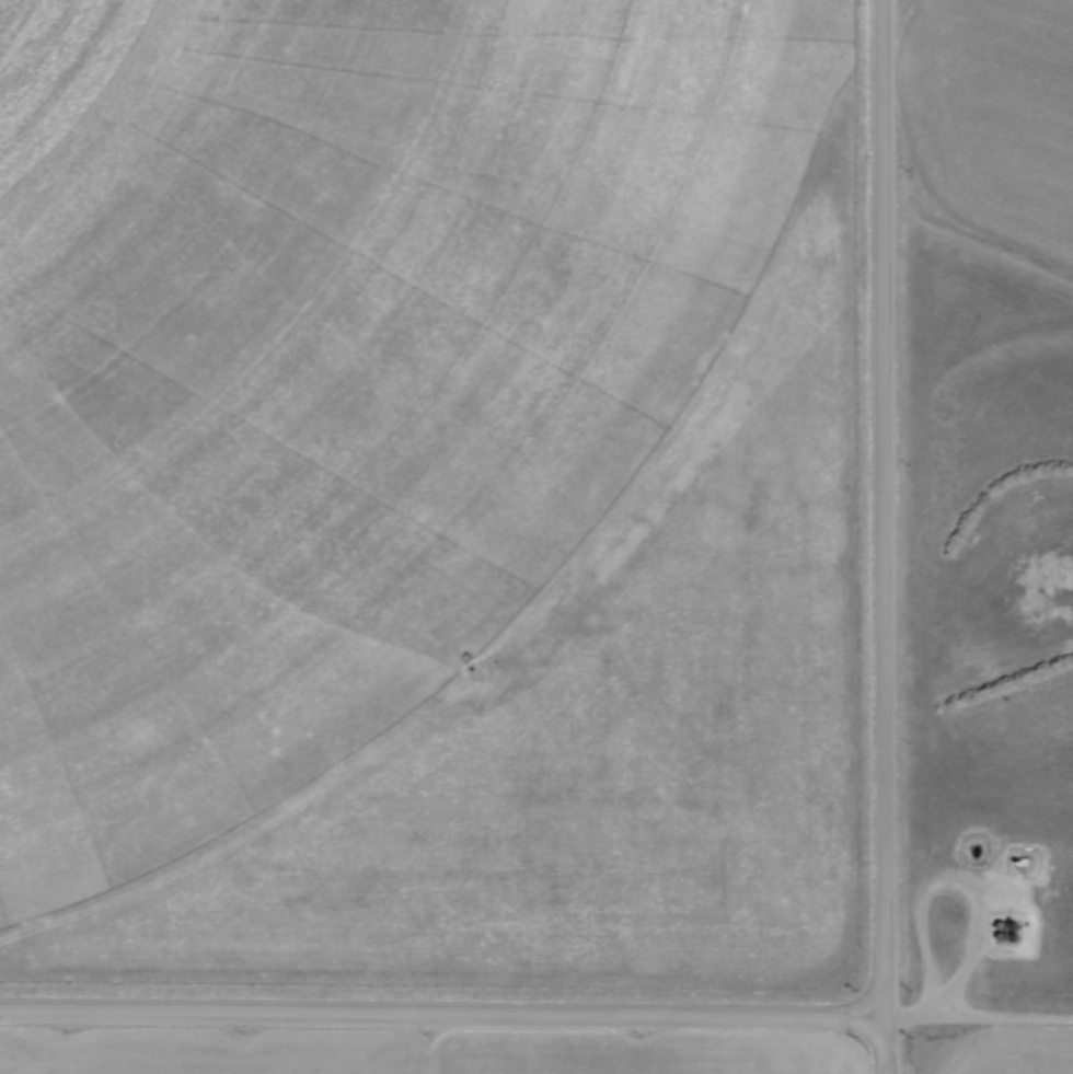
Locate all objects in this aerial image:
road: (890, 536)
building: (1020, 861)
road: (956, 886)
road: (445, 1015)
road: (981, 1021)

